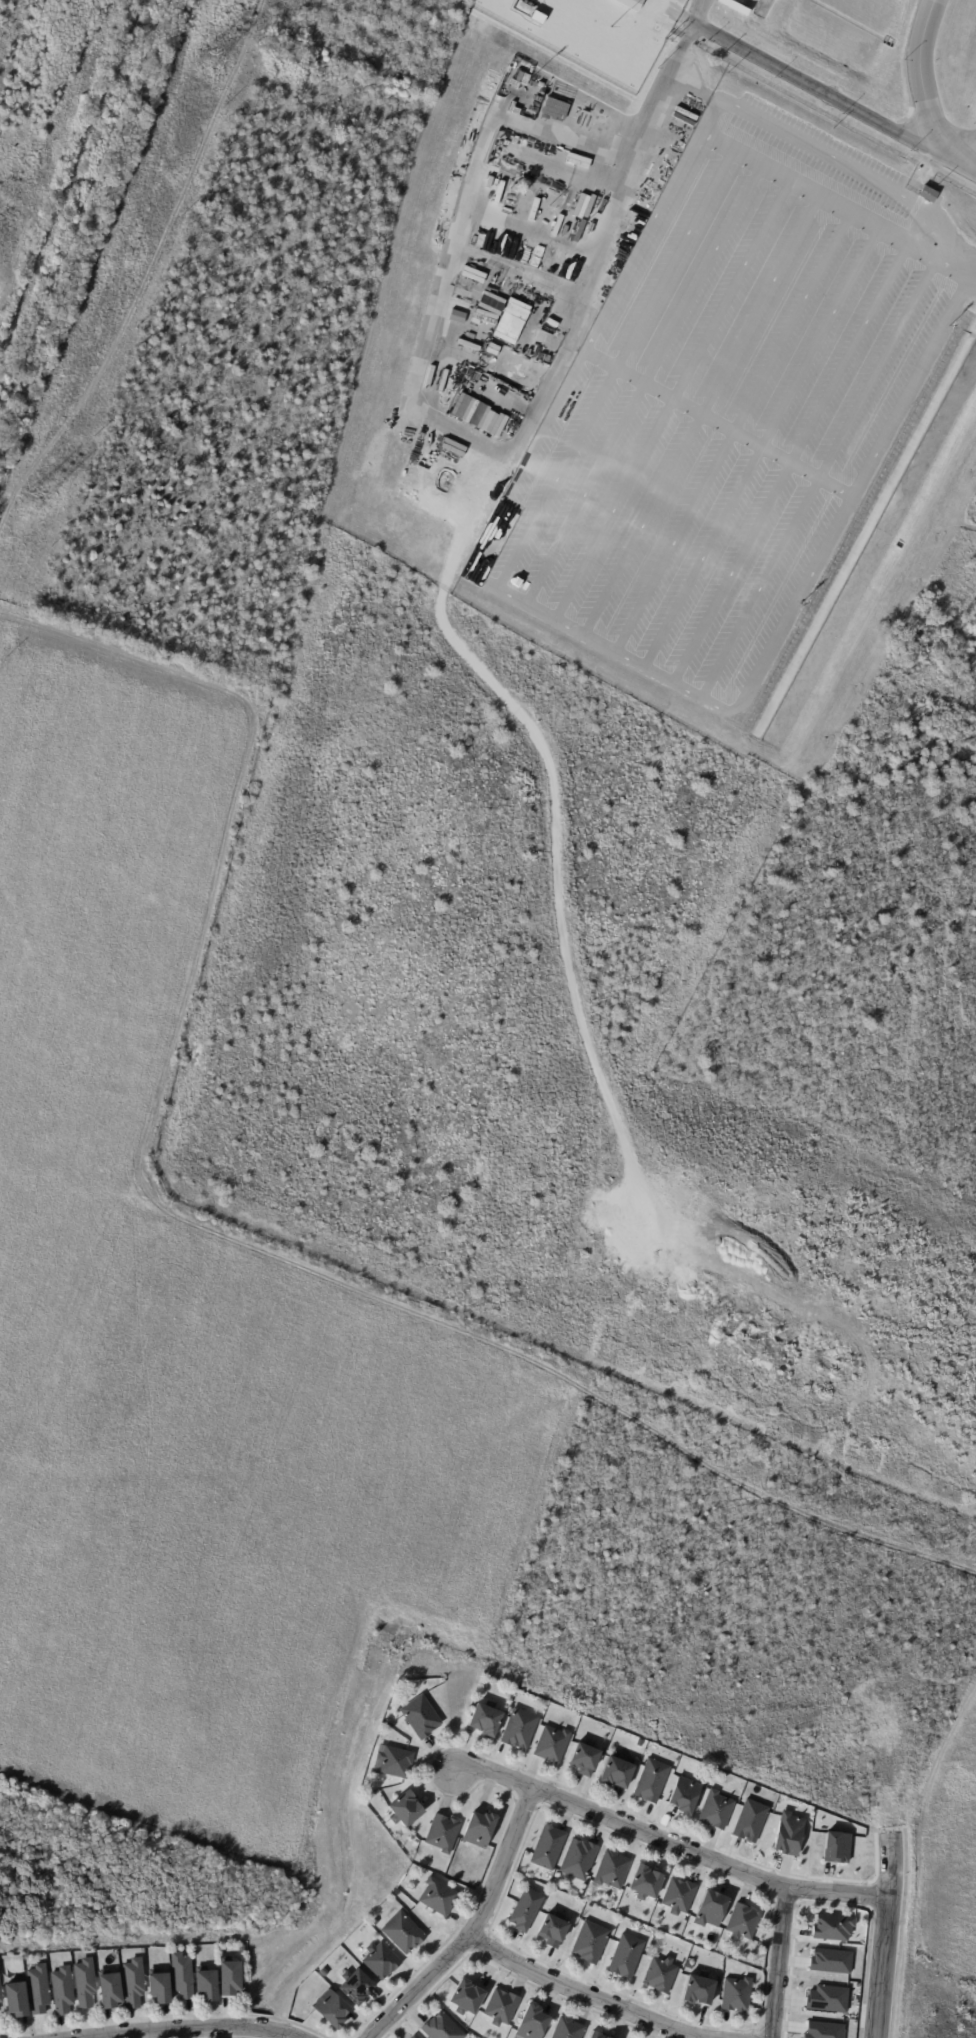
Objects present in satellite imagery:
building: (631, 4)
power substation: (646, 10)
power tower: (207, 59)
road: (806, 83)
road: (924, 93)
road: (660, 100)
park: (43, 105)
building: (554, 108)
building: (928, 194)
building: (565, 200)
road: (837, 211)
building: (456, 316)
building: (511, 320)
building: (490, 421)
power tower: (36, 504)
building: (420, 1716)
building: (486, 1718)
building: (519, 1728)
building: (552, 1744)
building: (585, 1758)
building: (394, 1761)
building: (617, 1771)
building: (651, 1781)
building: (685, 1796)
building: (404, 1808)
building: (717, 1809)
building: (749, 1820)
building: (479, 1828)
building: (443, 1832)
building: (787, 1832)
park: (945, 1840)
road: (668, 1843)
building: (549, 1846)
building: (835, 1847)
building: (579, 1858)
building: (612, 1869)
building: (451, 1874)
building: (646, 1882)
building: (679, 1895)
building: (438, 1896)
building: (712, 1909)
building: (526, 1910)
building: (743, 1922)
building: (834, 1927)
road: (474, 1929)
building: (553, 1930)
building: (403, 1932)
road: (886, 1935)
building: (590, 1942)
building: (241, 1948)
building: (626, 1956)
building: (380, 1959)
building: (829, 1960)
road: (777, 1963)
building: (661, 1974)
building: (182, 1975)
building: (229, 1977)
building: (133, 1981)
building: (85, 1982)
building: (206, 1983)
building: (158, 1985)
building: (356, 1986)
building: (38, 1988)
building: (62, 1989)
building: (109, 1989)
building: (699, 1990)
building: (1, 1994)
road: (579, 1994)
building: (737, 1995)
building: (15, 1997)
building: (466, 1997)
building: (826, 1998)
building: (501, 2007)
building: (331, 2008)
building: (532, 2022)
road: (252, 2027)
building: (442, 2027)
building: (568, 2029)
building: (823, 2030)
road: (167, 2031)
road: (286, 2033)
building: (597, 2035)
building: (414, 2037)
building: (607, 2037)

